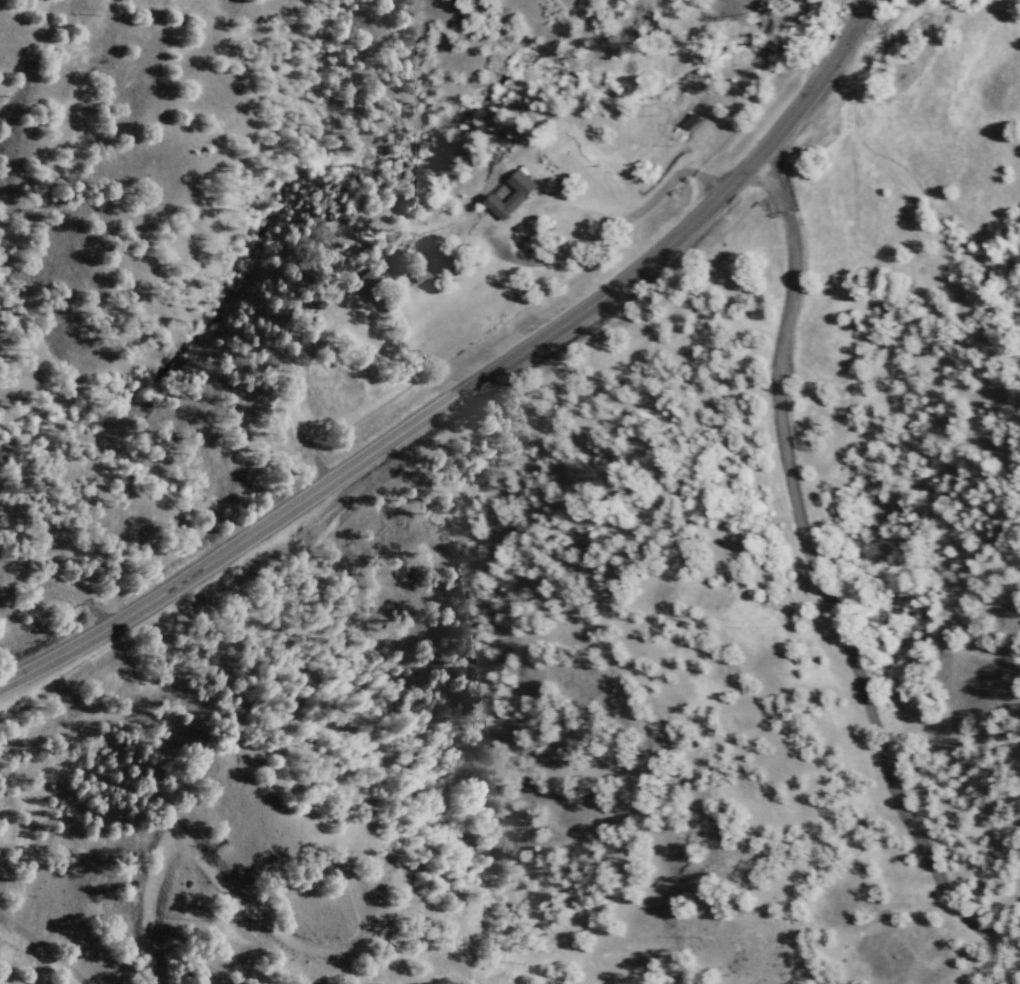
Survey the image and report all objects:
building: (511, 195)
building: (368, 285)
road: (473, 384)

